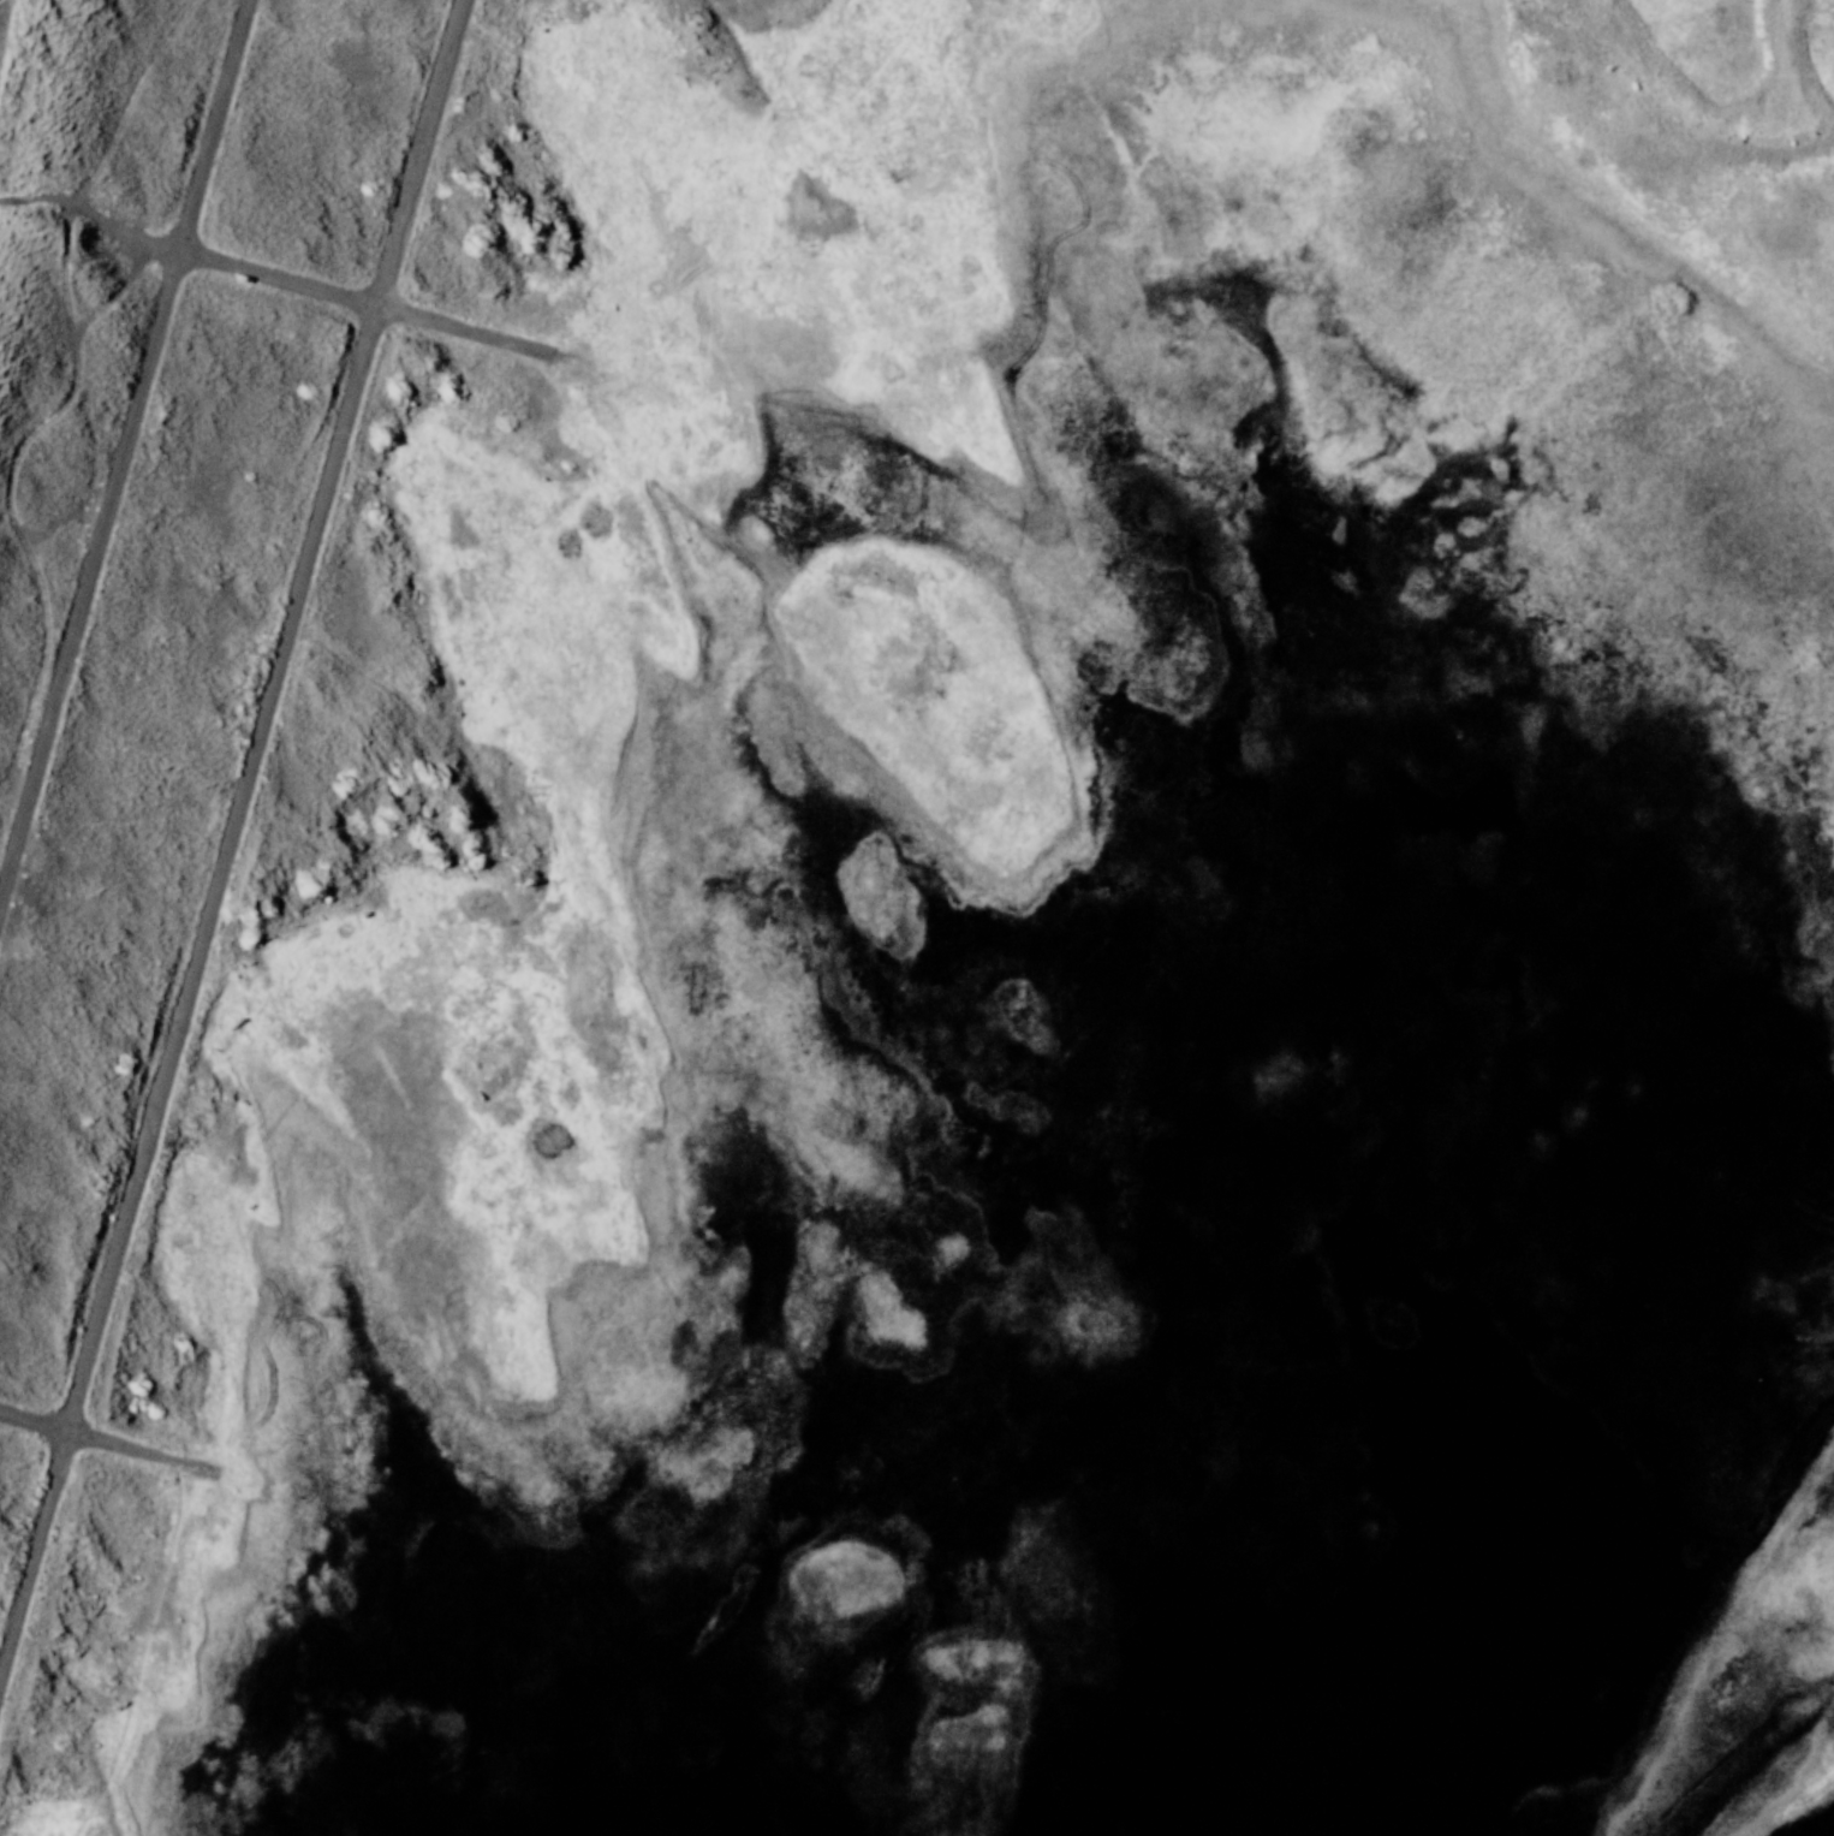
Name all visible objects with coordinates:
road: (285, 284)
road: (71, 393)
road: (125, 454)
road: (232, 842)
road: (108, 1444)

